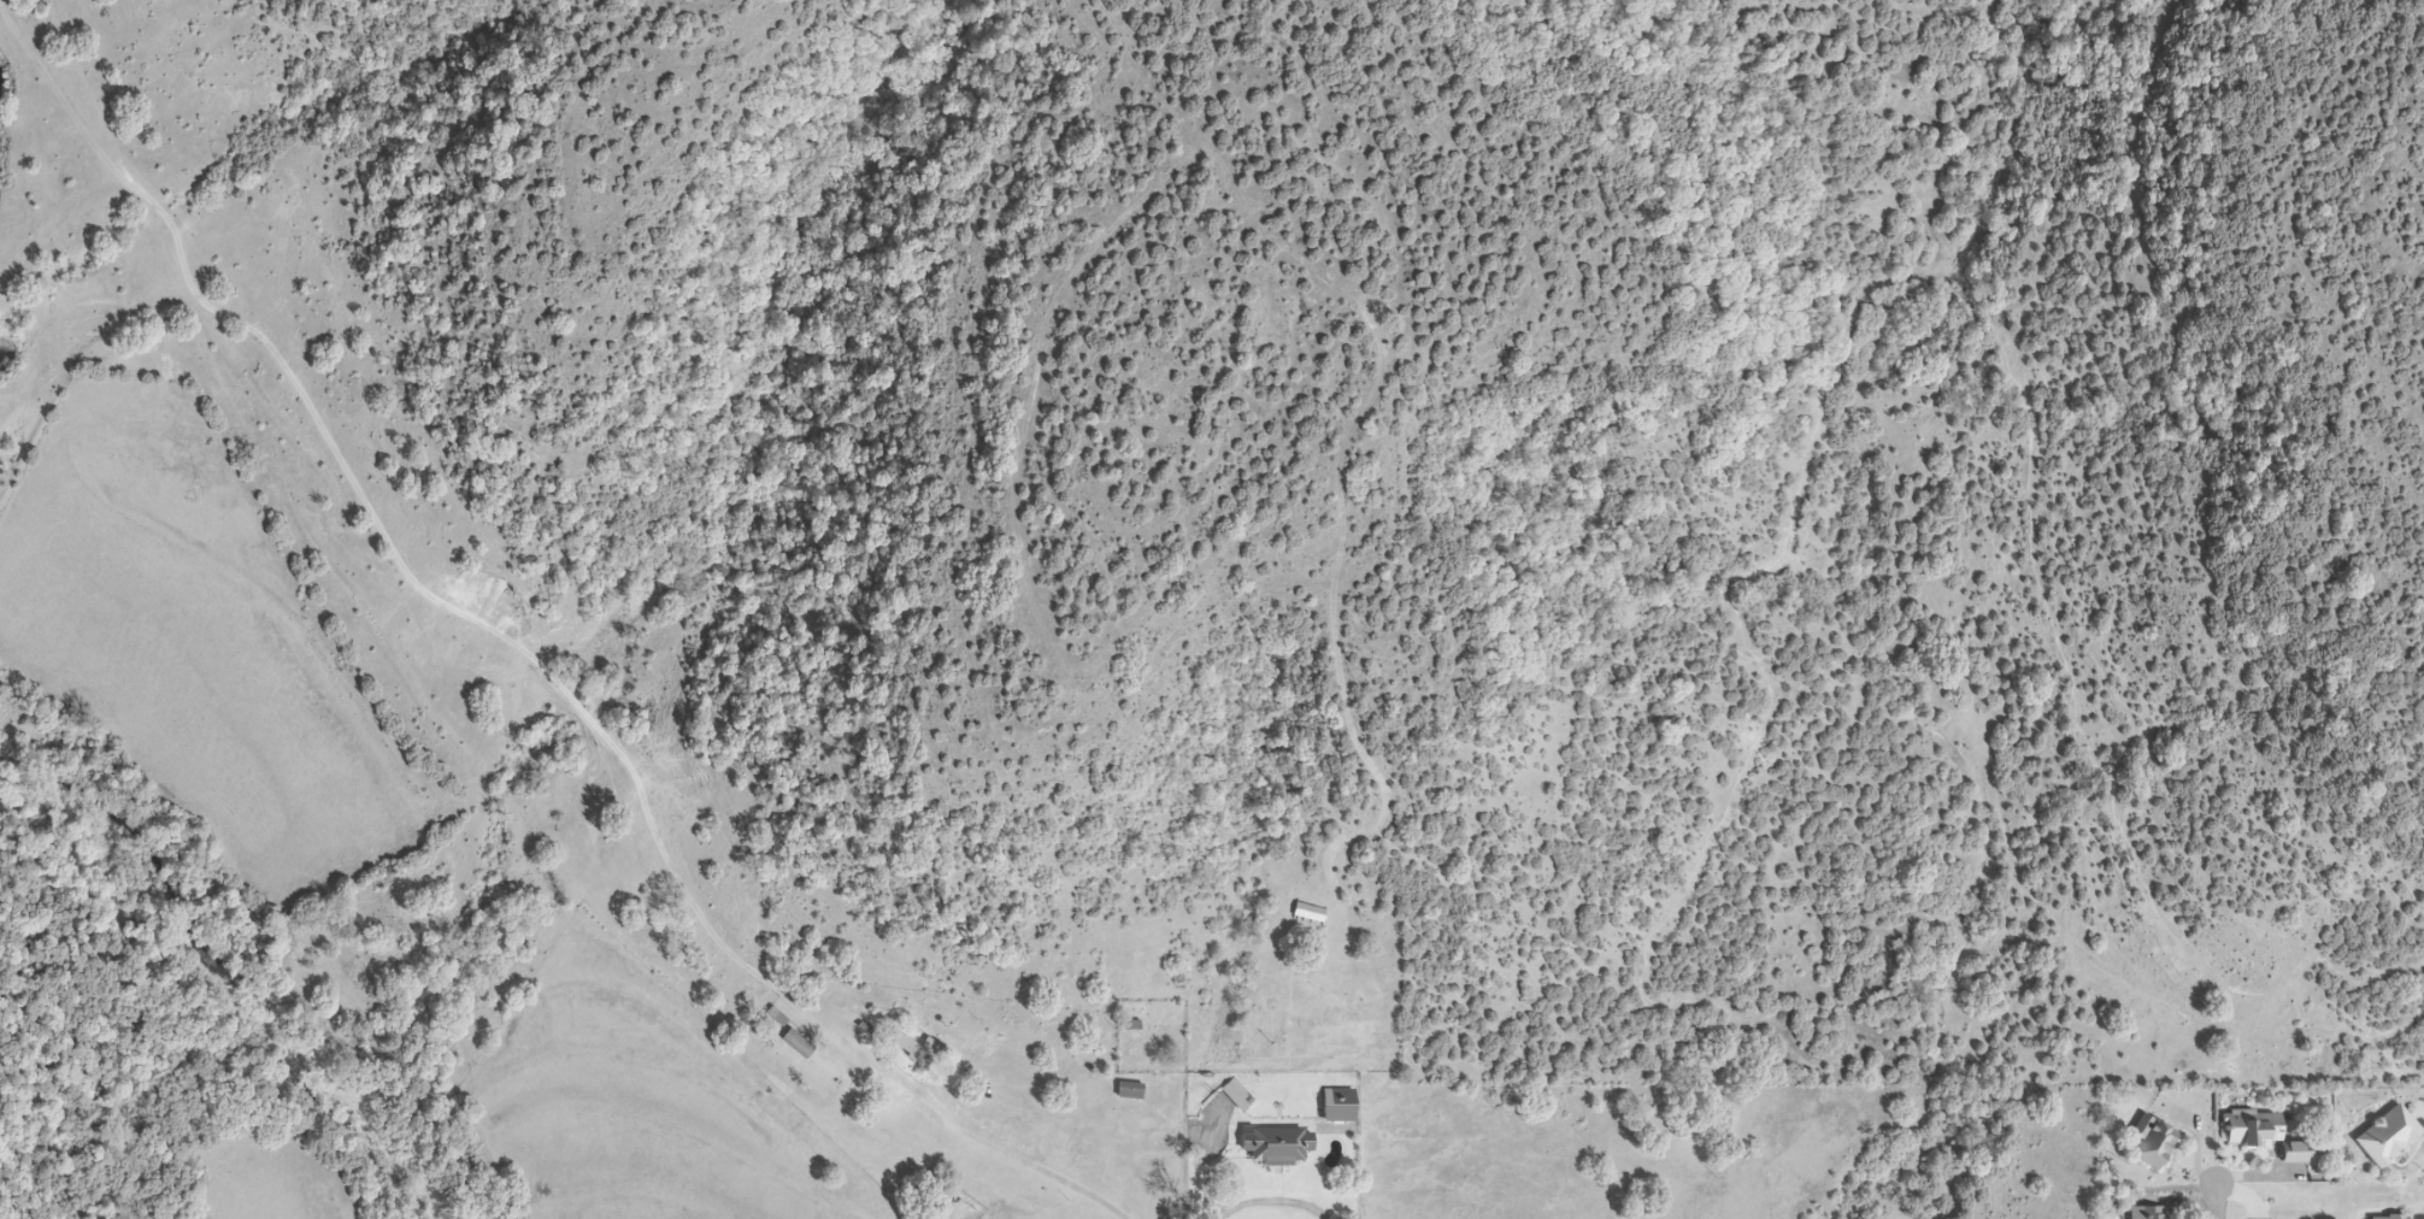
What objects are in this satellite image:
building: (1306, 913)
building: (794, 1043)
building: (912, 1049)
building: (1126, 1091)
building: (1235, 1095)
building: (1335, 1106)
building: (2259, 1133)
building: (2384, 1136)
building: (2151, 1144)
building: (1272, 1146)
road: (1012, 1155)
road: (1269, 1200)
road: (2216, 1205)
building: (2144, 1213)

